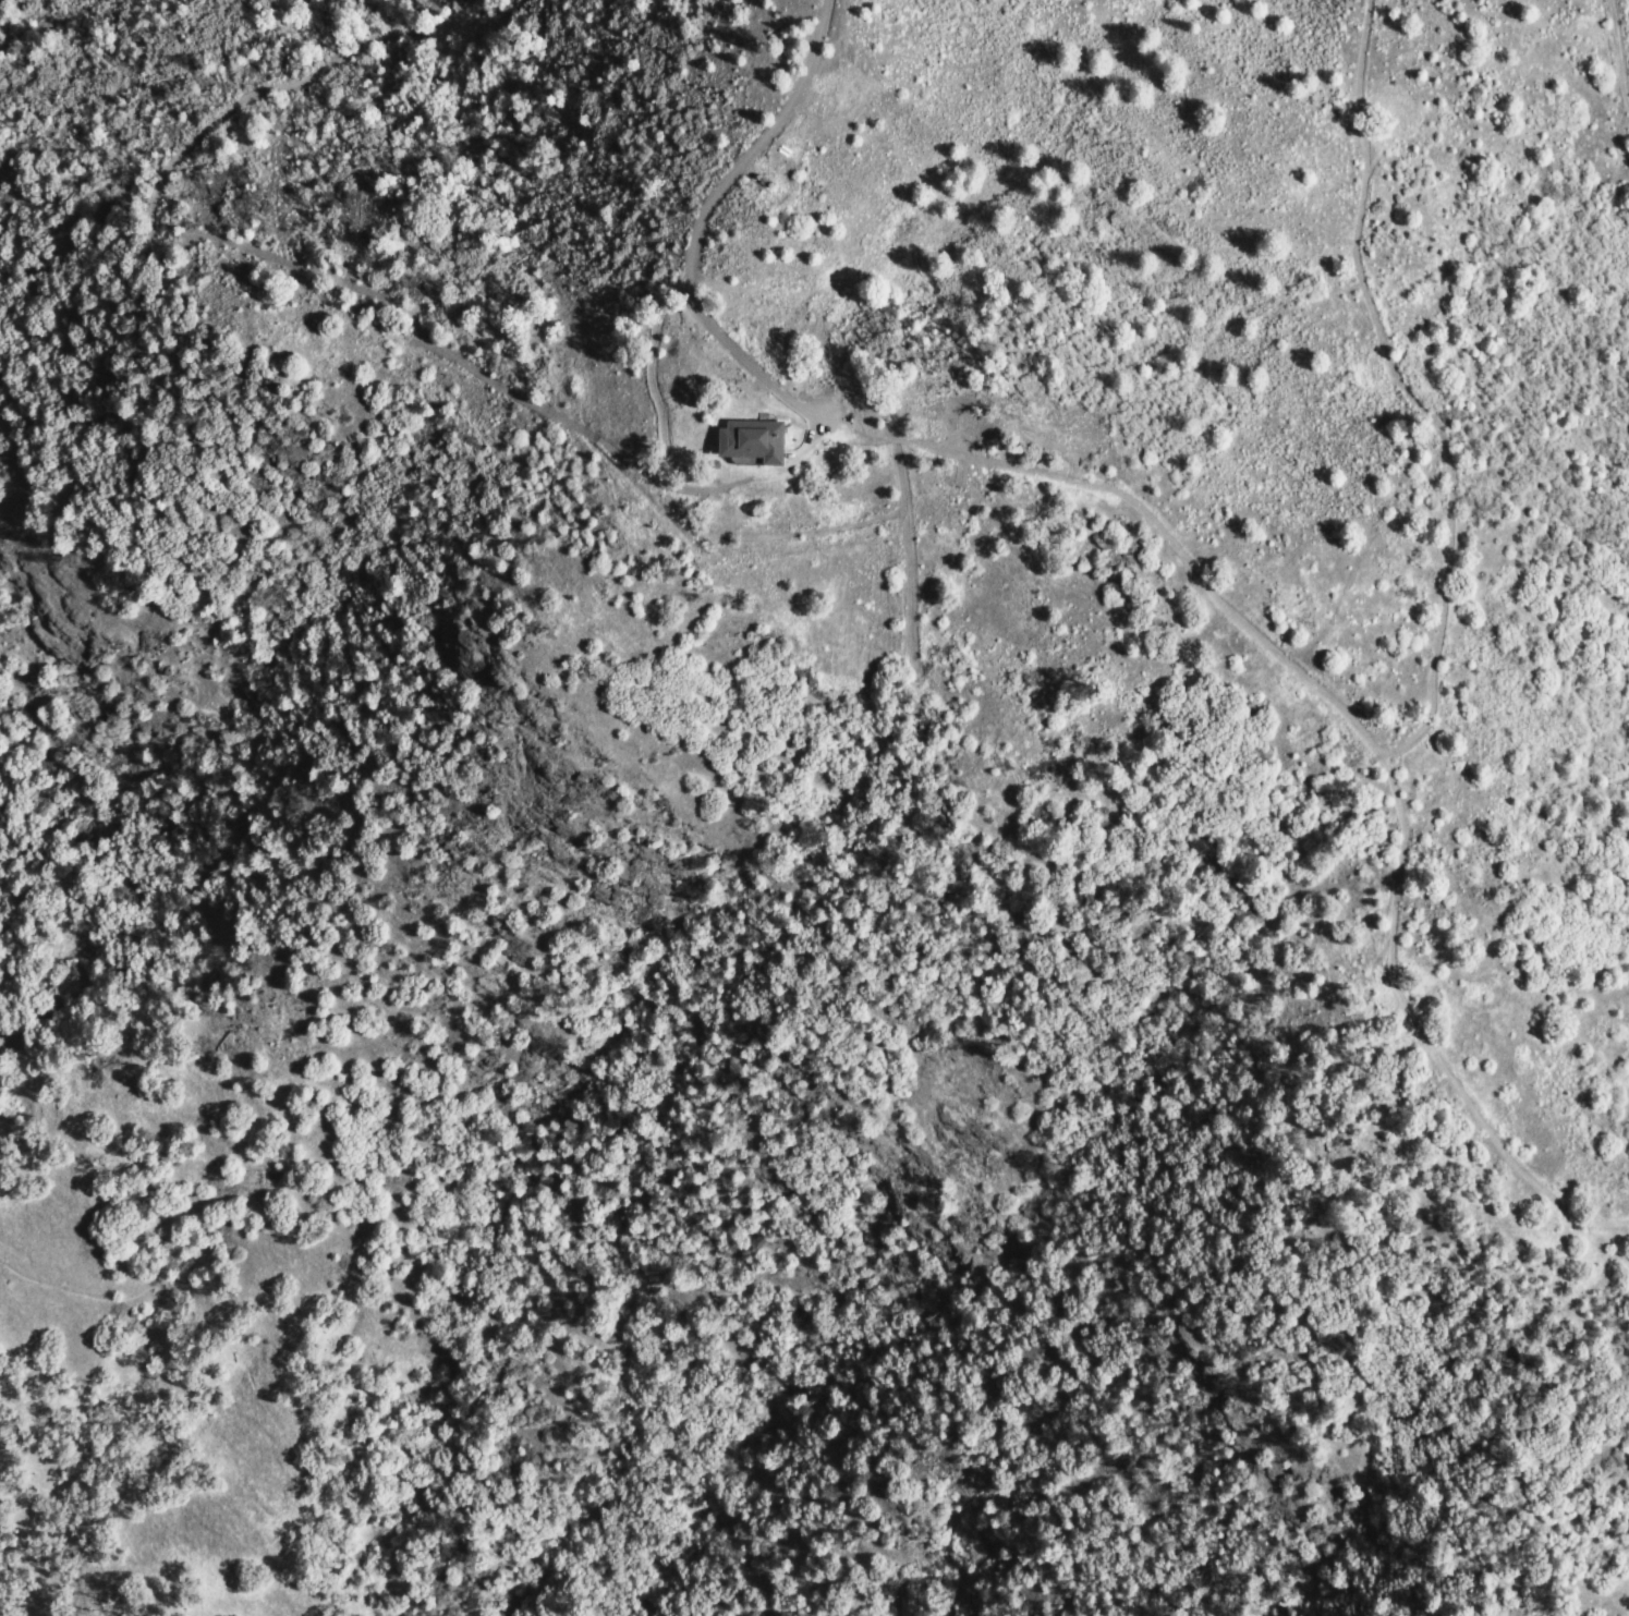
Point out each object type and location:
building: (762, 445)

